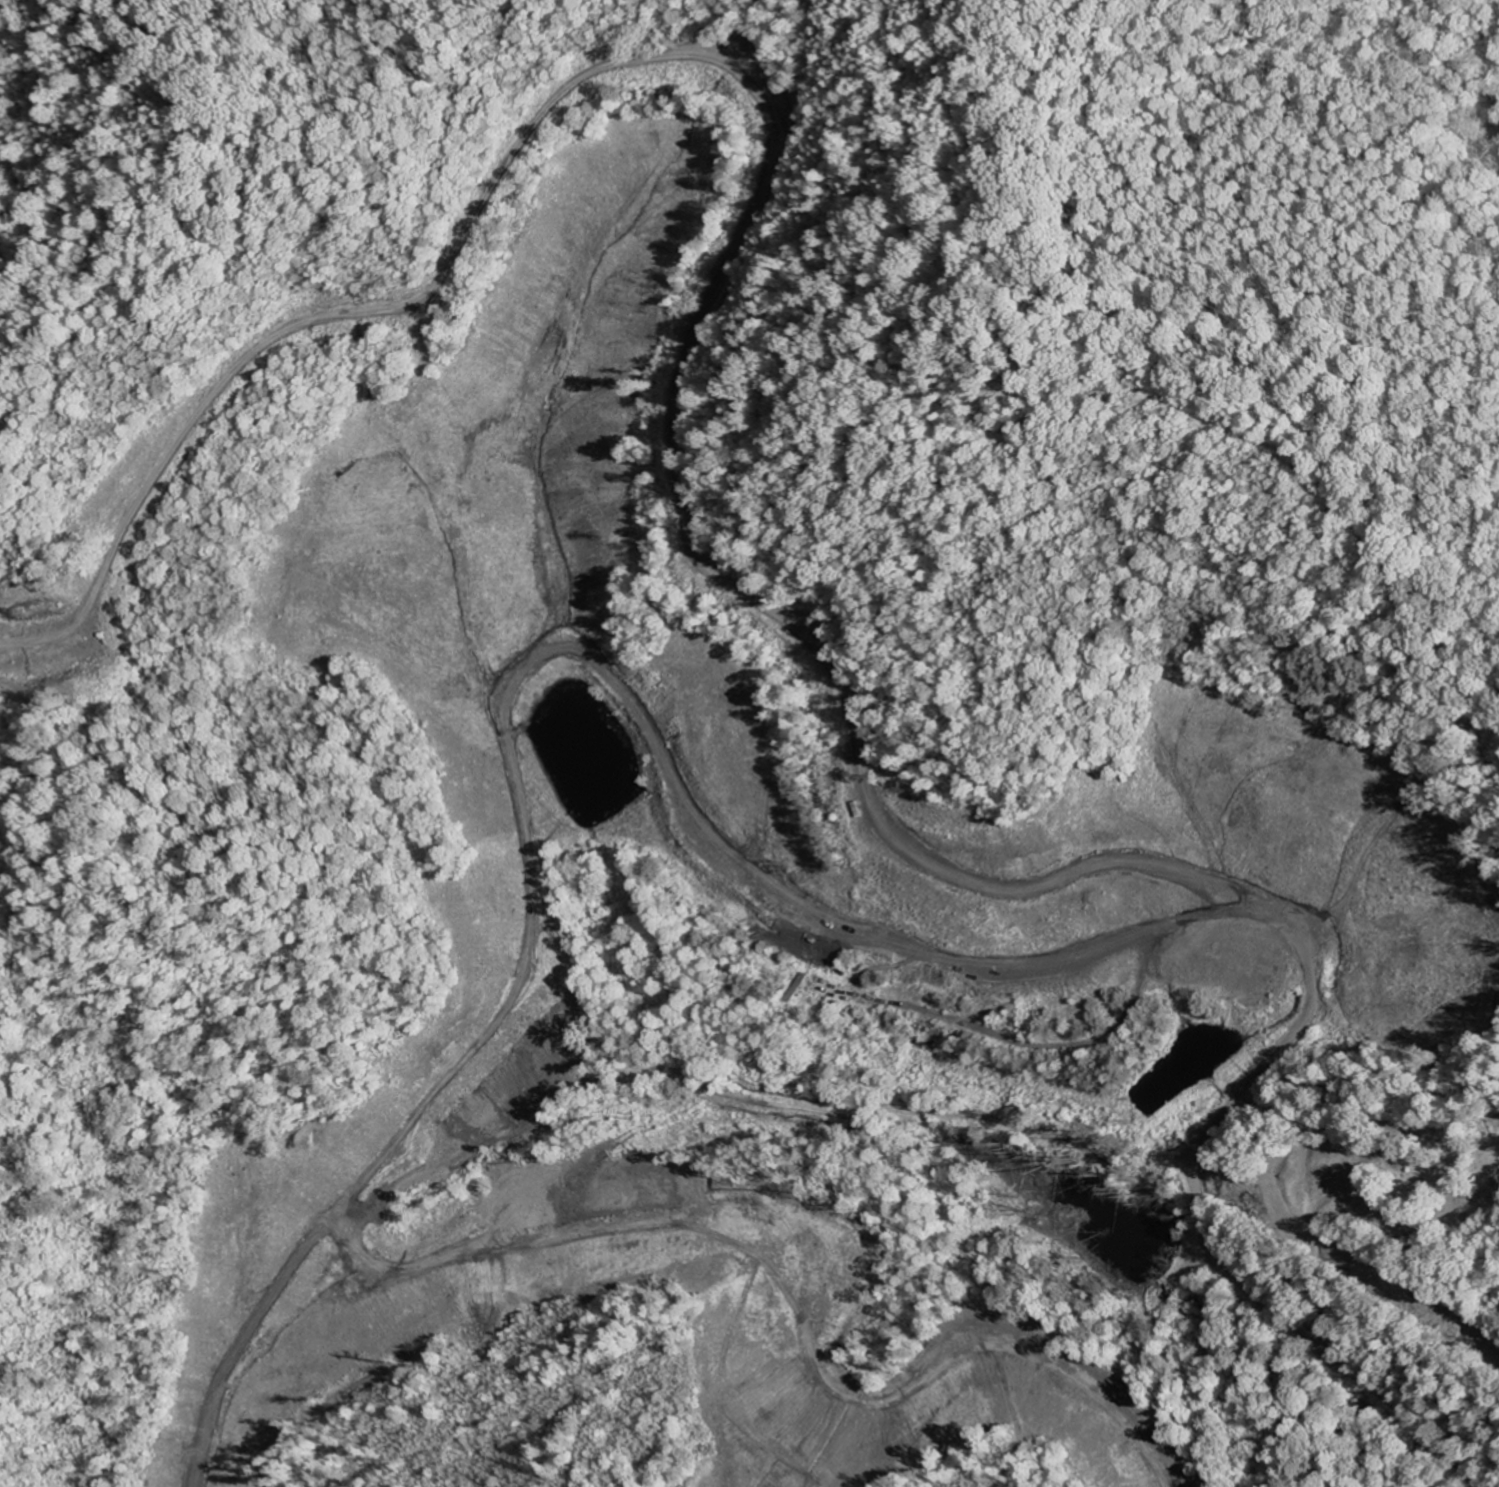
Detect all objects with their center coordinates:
park: (1432, 1168)
building: (1352, 1182)
road: (1332, 1355)

